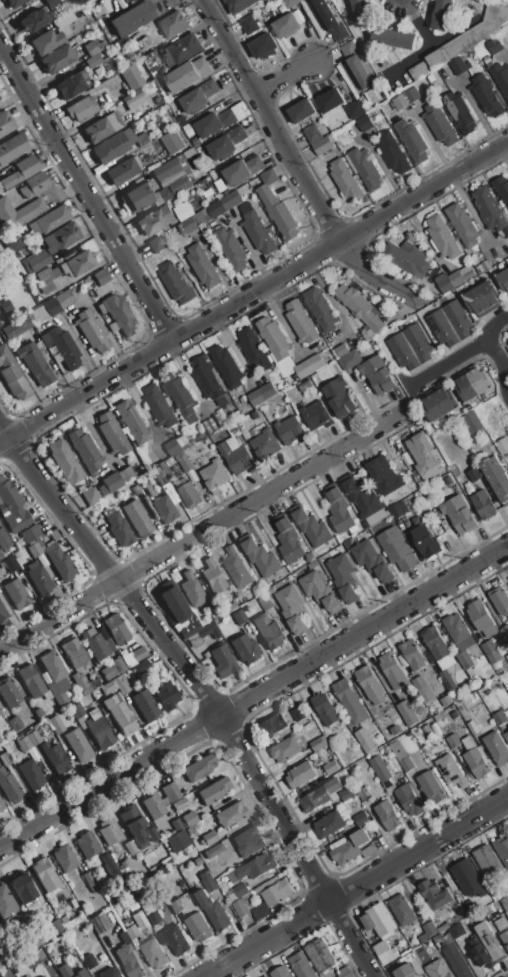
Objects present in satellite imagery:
building: (131, 0)
building: (13, 3)
building: (51, 3)
building: (290, 3)
building: (240, 5)
building: (360, 9)
building: (442, 15)
building: (131, 18)
building: (329, 19)
building: (33, 22)
building: (249, 24)
building: (285, 24)
building: (174, 25)
building: (393, 38)
building: (462, 41)
building: (46, 42)
building: (263, 46)
building: (496, 48)
building: (92, 49)
building: (182, 51)
building: (57, 60)
building: (92, 61)
building: (356, 66)
building: (458, 66)
building: (186, 74)
road: (286, 77)
building: (500, 77)
building: (133, 78)
building: (71, 85)
building: (411, 95)
building: (198, 97)
building: (486, 97)
building: (330, 100)
building: (135, 101)
building: (399, 102)
building: (82, 109)
building: (239, 109)
building: (354, 109)
building: (302, 110)
building: (459, 112)
building: (215, 123)
building: (438, 123)
building: (5, 124)
building: (365, 124)
building: (104, 127)
building: (190, 128)
building: (313, 134)
building: (142, 139)
building: (411, 140)
building: (172, 142)
building: (227, 143)
building: (113, 146)
building: (322, 146)
building: (12, 148)
building: (393, 153)
road: (294, 160)
building: (364, 168)
building: (242, 170)
building: (21, 171)
building: (123, 171)
building: (169, 172)
building: (269, 176)
building: (345, 181)
building: (35, 185)
building: (219, 185)
building: (175, 188)
building: (501, 189)
road: (88, 193)
building: (137, 198)
building: (157, 199)
building: (231, 200)
building: (215, 209)
building: (489, 209)
building: (183, 212)
building: (277, 212)
building: (19, 213)
building: (202, 217)
building: (49, 220)
building: (156, 220)
building: (190, 224)
building: (464, 225)
building: (256, 229)
building: (442, 237)
building: (13, 243)
building: (155, 245)
building: (52, 246)
building: (230, 248)
building: (407, 257)
building: (202, 266)
building: (64, 272)
building: (102, 277)
building: (459, 277)
building: (503, 279)
building: (443, 283)
building: (176, 284)
road: (253, 293)
building: (482, 298)
building: (59, 303)
building: (360, 307)
building: (319, 310)
building: (120, 316)
building: (300, 321)
building: (450, 324)
building: (0, 325)
building: (17, 328)
building: (93, 332)
building: (506, 334)
building: (273, 338)
building: (62, 346)
building: (410, 347)
building: (340, 350)
building: (254, 351)
road: (467, 354)
building: (349, 359)
road: (501, 364)
building: (308, 365)
building: (35, 366)
building: (226, 366)
building: (285, 366)
building: (377, 376)
building: (12, 377)
building: (207, 377)
building: (473, 384)
building: (268, 390)
road: (507, 390)
building: (179, 394)
building: (255, 397)
building: (338, 397)
building: (440, 404)
building: (158, 405)
building: (316, 415)
building: (472, 422)
building: (132, 423)
building: (291, 430)
building: (111, 434)
building: (503, 444)
building: (265, 445)
building: (172, 446)
building: (86, 451)
building: (422, 452)
building: (234, 455)
building: (65, 461)
building: (184, 462)
building: (126, 475)
building: (214, 475)
building: (385, 475)
building: (473, 476)
building: (158, 477)
building: (497, 478)
building: (111, 482)
building: (149, 490)
building: (188, 495)
building: (8, 496)
building: (91, 496)
building: (365, 502)
building: (483, 505)
building: (403, 506)
building: (164, 510)
building: (339, 511)
building: (458, 514)
building: (137, 519)
building: (17, 520)
building: (118, 527)
building: (312, 528)
road: (201, 533)
building: (30, 534)
building: (4, 539)
building: (289, 541)
building: (426, 542)
building: (397, 549)
building: (34, 551)
building: (1, 554)
building: (261, 557)
building: (372, 561)
building: (60, 563)
building: (10, 564)
road: (112, 568)
building: (236, 568)
building: (213, 577)
building: (343, 577)
building: (40, 578)
building: (192, 590)
building: (319, 591)
building: (16, 594)
building: (499, 600)
building: (265, 602)
building: (292, 608)
building: (3, 613)
building: (178, 613)
building: (238, 618)
building: (481, 618)
building: (116, 628)
building: (209, 631)
road: (364, 631)
building: (458, 631)
building: (269, 632)
building: (97, 643)
building: (438, 647)
building: (488, 647)
building: (245, 649)
building: (74, 653)
building: (139, 654)
building: (413, 654)
building: (507, 657)
building: (465, 659)
building: (224, 661)
building: (53, 666)
building: (119, 666)
building: (142, 666)
building: (392, 671)
building: (109, 672)
building: (447, 680)
building: (32, 681)
building: (85, 684)
building: (370, 684)
building: (108, 687)
building: (422, 688)
building: (9, 693)
building: (167, 696)
building: (60, 699)
building: (446, 700)
building: (350, 702)
building: (145, 706)
building: (324, 708)
building: (78, 711)
building: (0, 713)
building: (39, 713)
building: (298, 713)
building: (407, 713)
building: (454, 714)
building: (507, 714)
building: (121, 715)
building: (499, 718)
building: (16, 723)
building: (56, 725)
building: (271, 726)
building: (473, 727)
building: (426, 729)
building: (394, 730)
building: (100, 733)
building: (506, 735)
building: (34, 739)
building: (0, 740)
building: (365, 740)
building: (453, 741)
building: (317, 743)
building: (24, 744)
building: (78, 745)
building: (496, 747)
building: (285, 749)
building: (401, 755)
building: (55, 758)
building: (474, 758)
building: (5, 759)
building: (200, 767)
building: (330, 767)
building: (380, 768)
building: (451, 770)
building: (31, 774)
building: (300, 774)
road: (110, 782)
building: (332, 786)
building: (9, 787)
building: (431, 788)
building: (171, 792)
building: (214, 792)
building: (346, 793)
building: (364, 794)
building: (408, 800)
building: (314, 801)
building: (1, 807)
building: (155, 810)
building: (231, 815)
building: (387, 816)
building: (190, 819)
building: (361, 819)
building: (329, 824)
building: (134, 826)
building: (109, 832)
building: (191, 832)
building: (152, 835)
building: (360, 837)
building: (177, 838)
building: (208, 838)
building: (248, 841)
building: (87, 845)
road: (297, 847)
building: (131, 848)
building: (502, 849)
building: (214, 851)
building: (343, 851)
building: (65, 858)
building: (197, 862)
building: (488, 862)
building: (109, 863)
building: (256, 866)
building: (45, 875)
building: (468, 879)
building: (208, 881)
road: (356, 886)
building: (22, 888)
building: (241, 890)
building: (275, 894)
building: (435, 894)
building: (5, 902)
building: (505, 905)
building: (176, 906)
building: (240, 907)
building: (468, 908)
building: (147, 909)
building: (402, 910)
building: (214, 911)
building: (153, 919)
building: (64, 920)
building: (379, 920)
building: (139, 921)
building: (100, 923)
building: (55, 927)
building: (442, 927)
building: (198, 928)
building: (130, 929)
building: (430, 929)
building: (457, 930)
building: (123, 937)
building: (423, 937)
building: (505, 938)
building: (174, 940)
building: (490, 941)
building: (430, 945)
building: (479, 951)
building: (385, 952)
building: (154, 953)
building: (321, 955)
building: (457, 960)
building: (129, 961)
building: (89, 962)
building: (301, 965)
building: (437, 969)
building: (64, 971)
building: (405, 971)
building: (280, 972)
building: (344, 972)
building: (5, 973)
building: (108, 973)
building: (82, 974)
building: (29, 976)
building: (43, 976)

